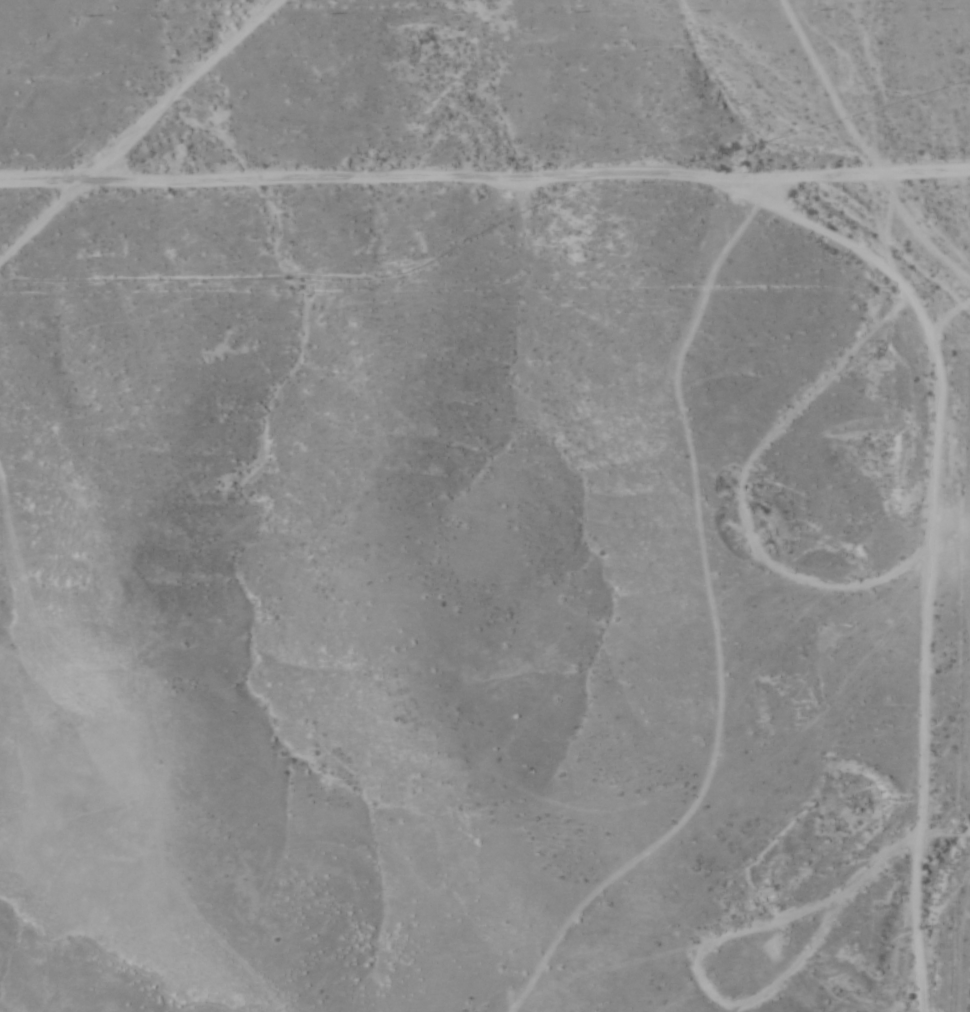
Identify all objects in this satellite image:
road: (485, 194)
road: (920, 542)

